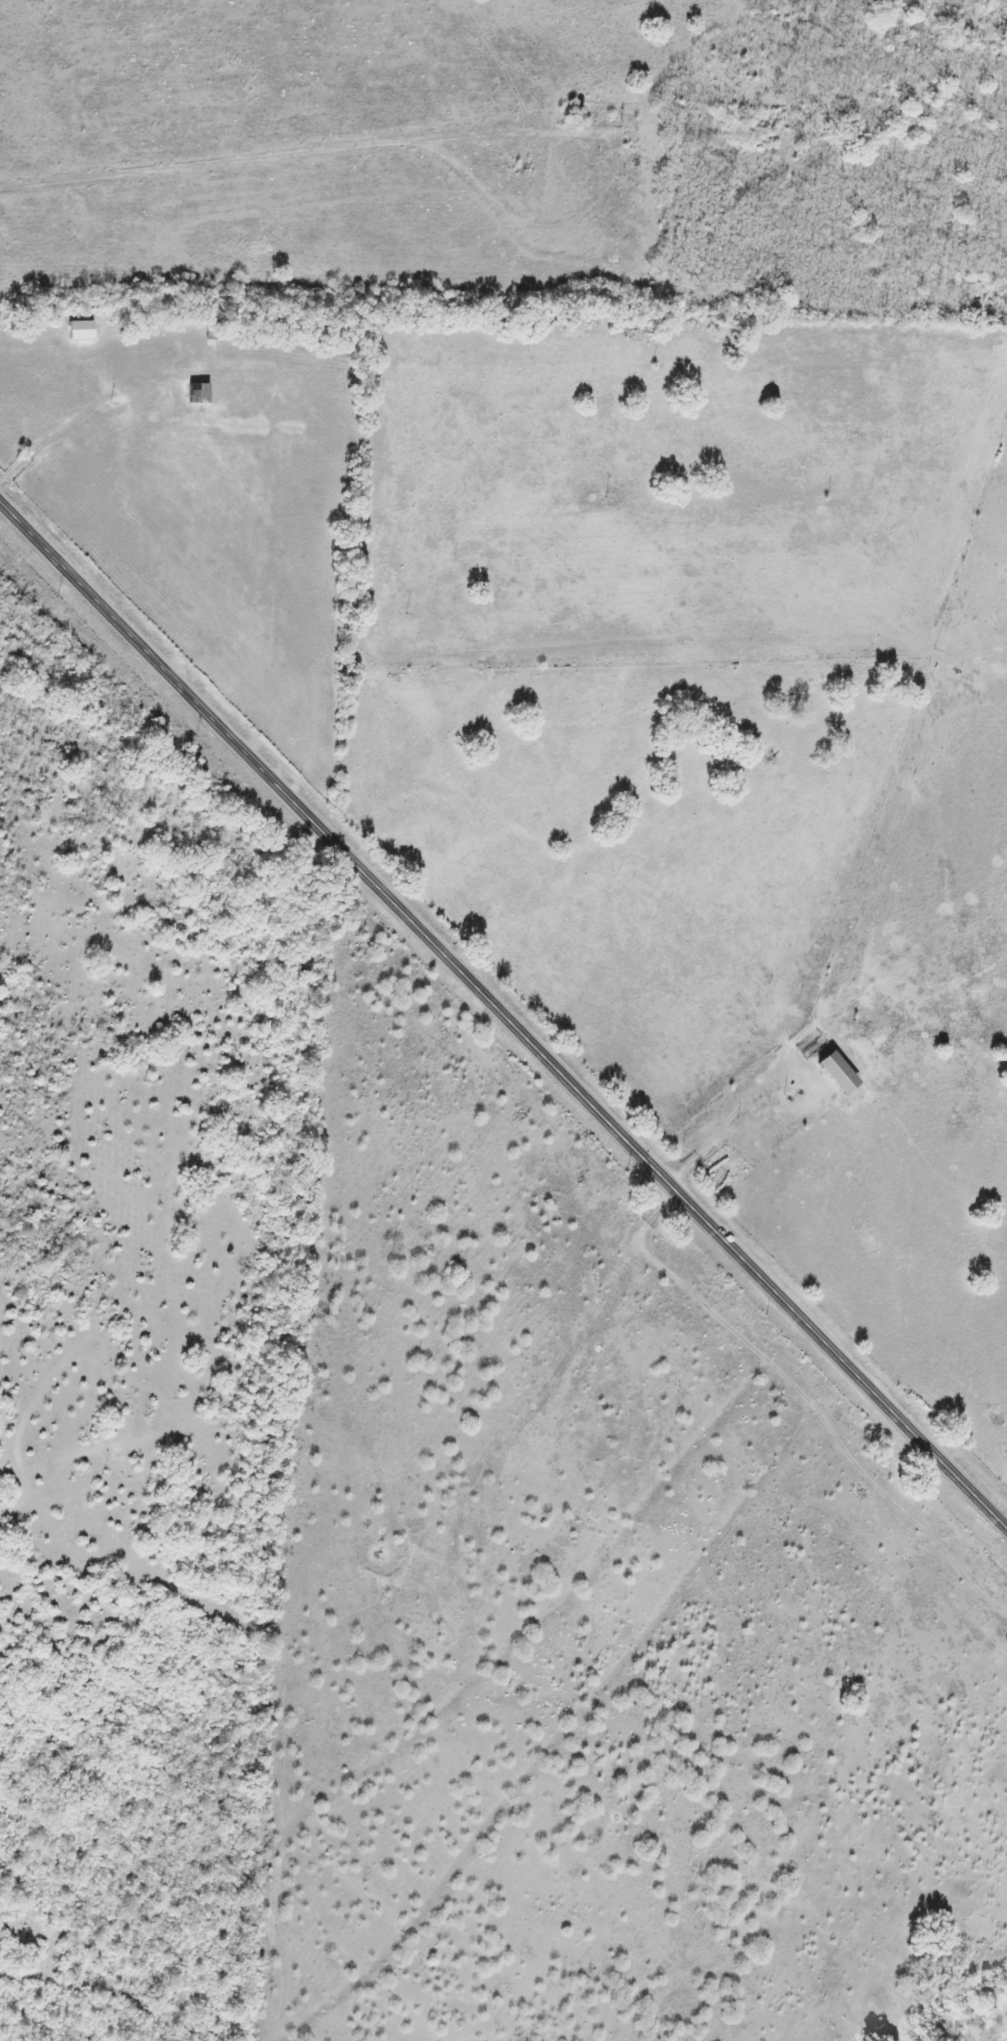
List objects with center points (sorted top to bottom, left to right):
building: (244, 365)
building: (200, 392)
road: (504, 1013)
building: (832, 1071)

